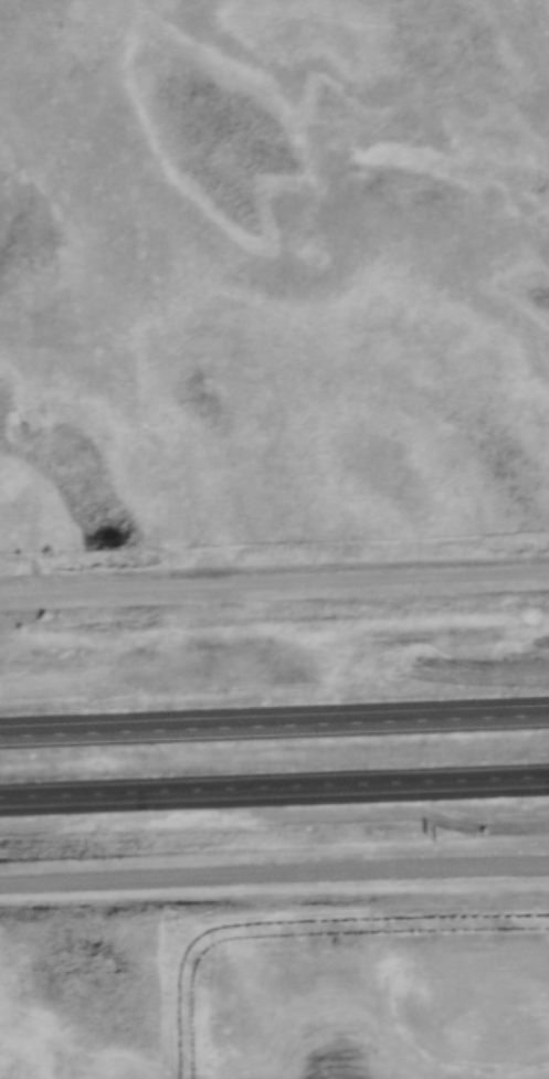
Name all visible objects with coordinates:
road: (274, 585)
road: (274, 728)
road: (274, 791)
road: (274, 875)

